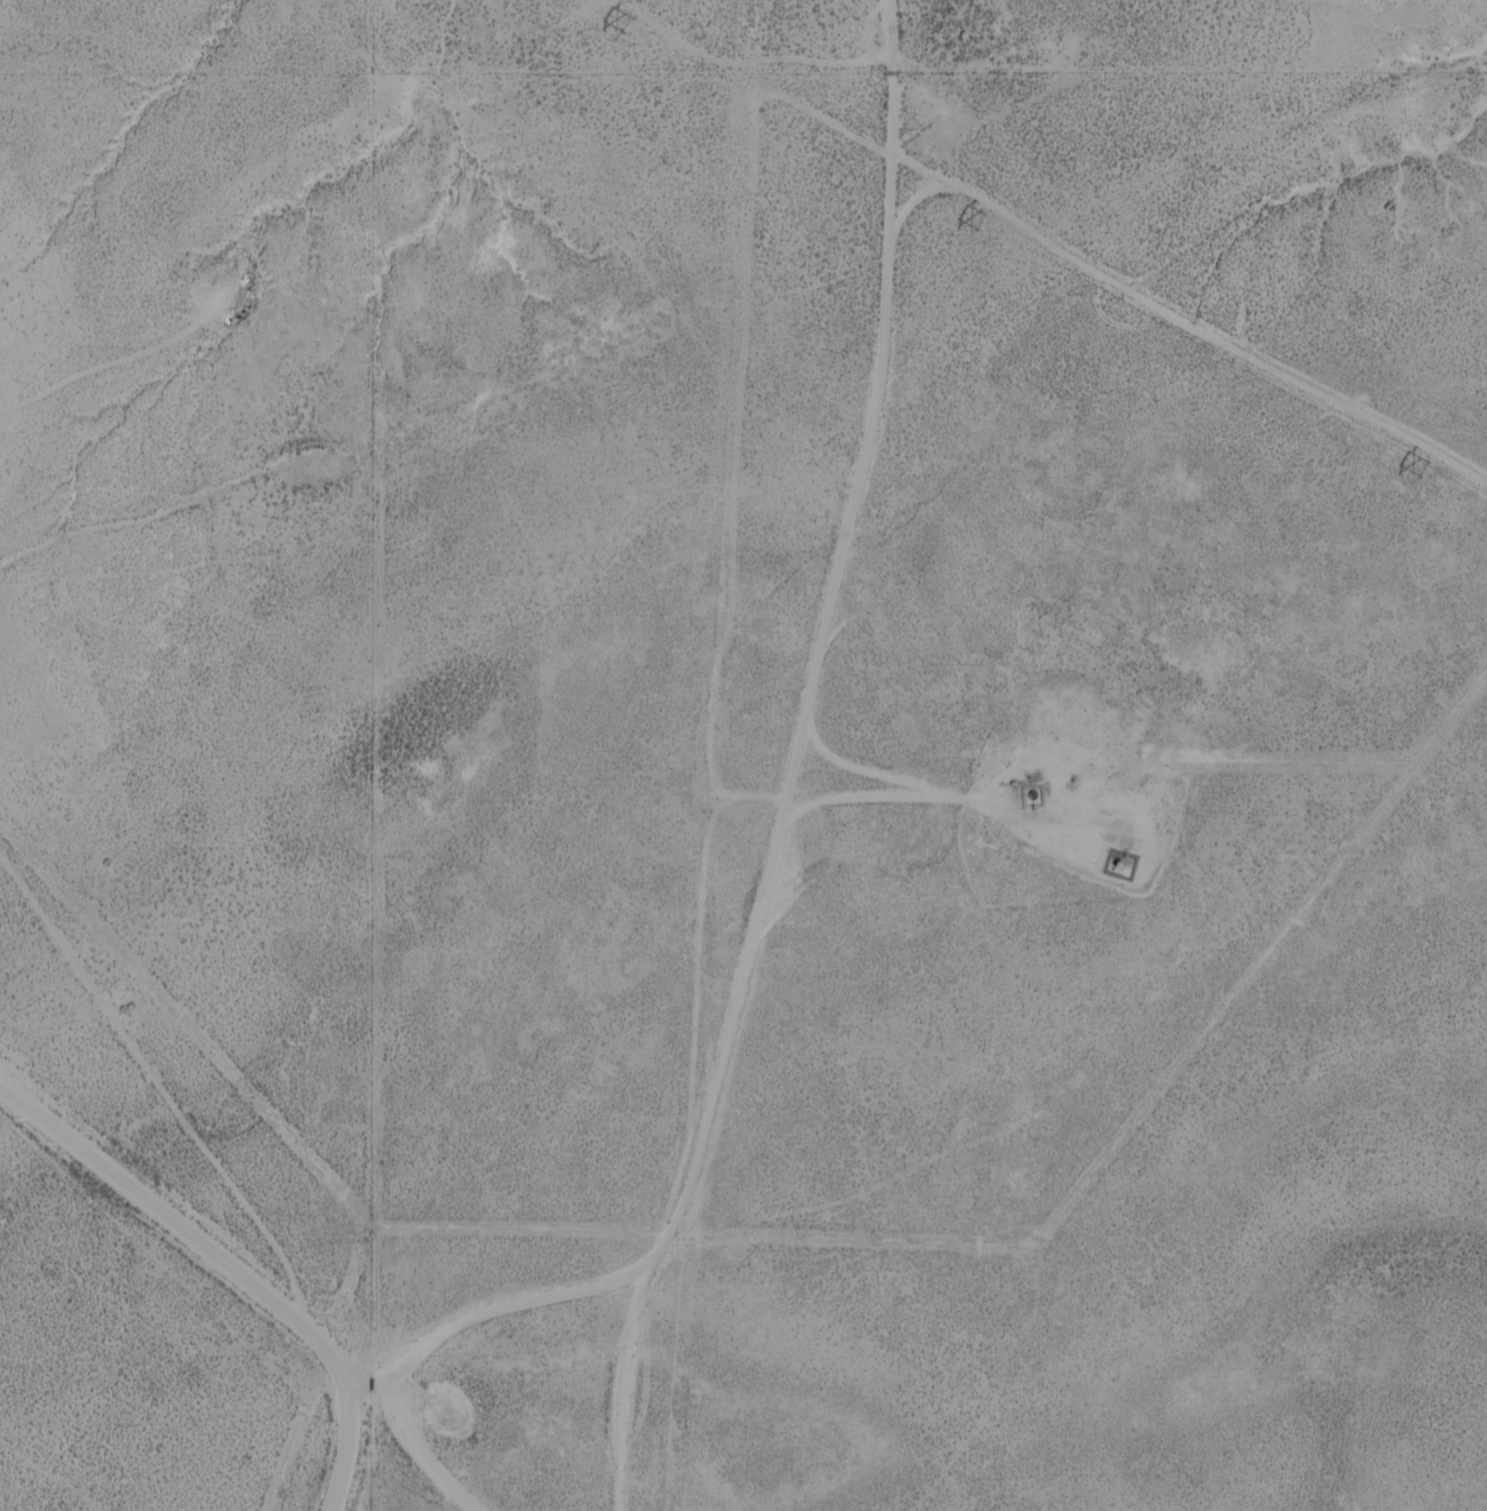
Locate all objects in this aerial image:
power tower: (625, 25)
power tower: (976, 227)
power tower: (1421, 472)
road: (230, 1268)
road: (410, 1440)

